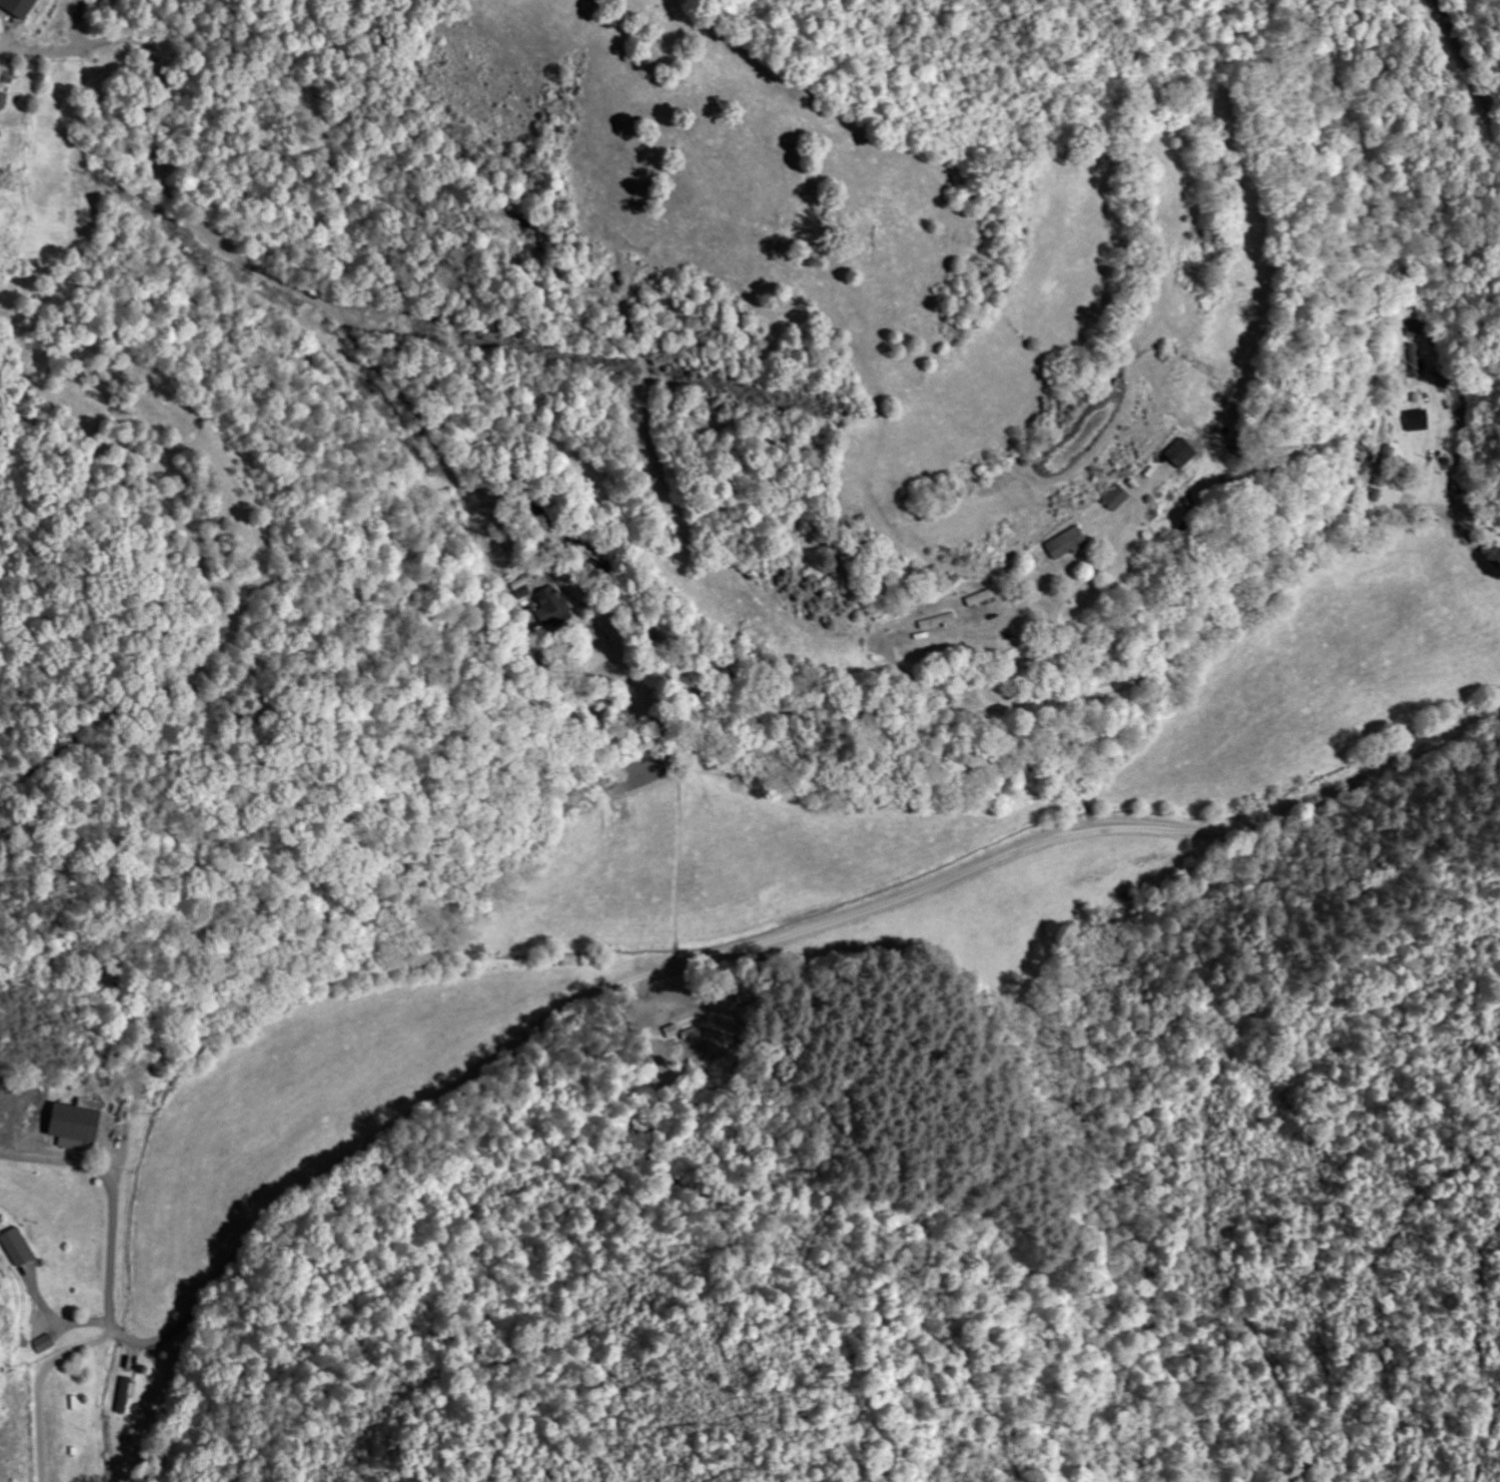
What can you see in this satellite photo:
building: (20, 7)
road: (1467, 66)
building: (0, 104)
building: (1413, 355)
building: (1417, 422)
building: (1181, 453)
building: (1115, 498)
road: (1432, 511)
road: (1470, 539)
building: (1068, 544)
building: (552, 607)
road: (634, 977)
building: (77, 1124)
building: (72, 1145)
building: (19, 1248)
building: (45, 1345)
building: (125, 1397)

